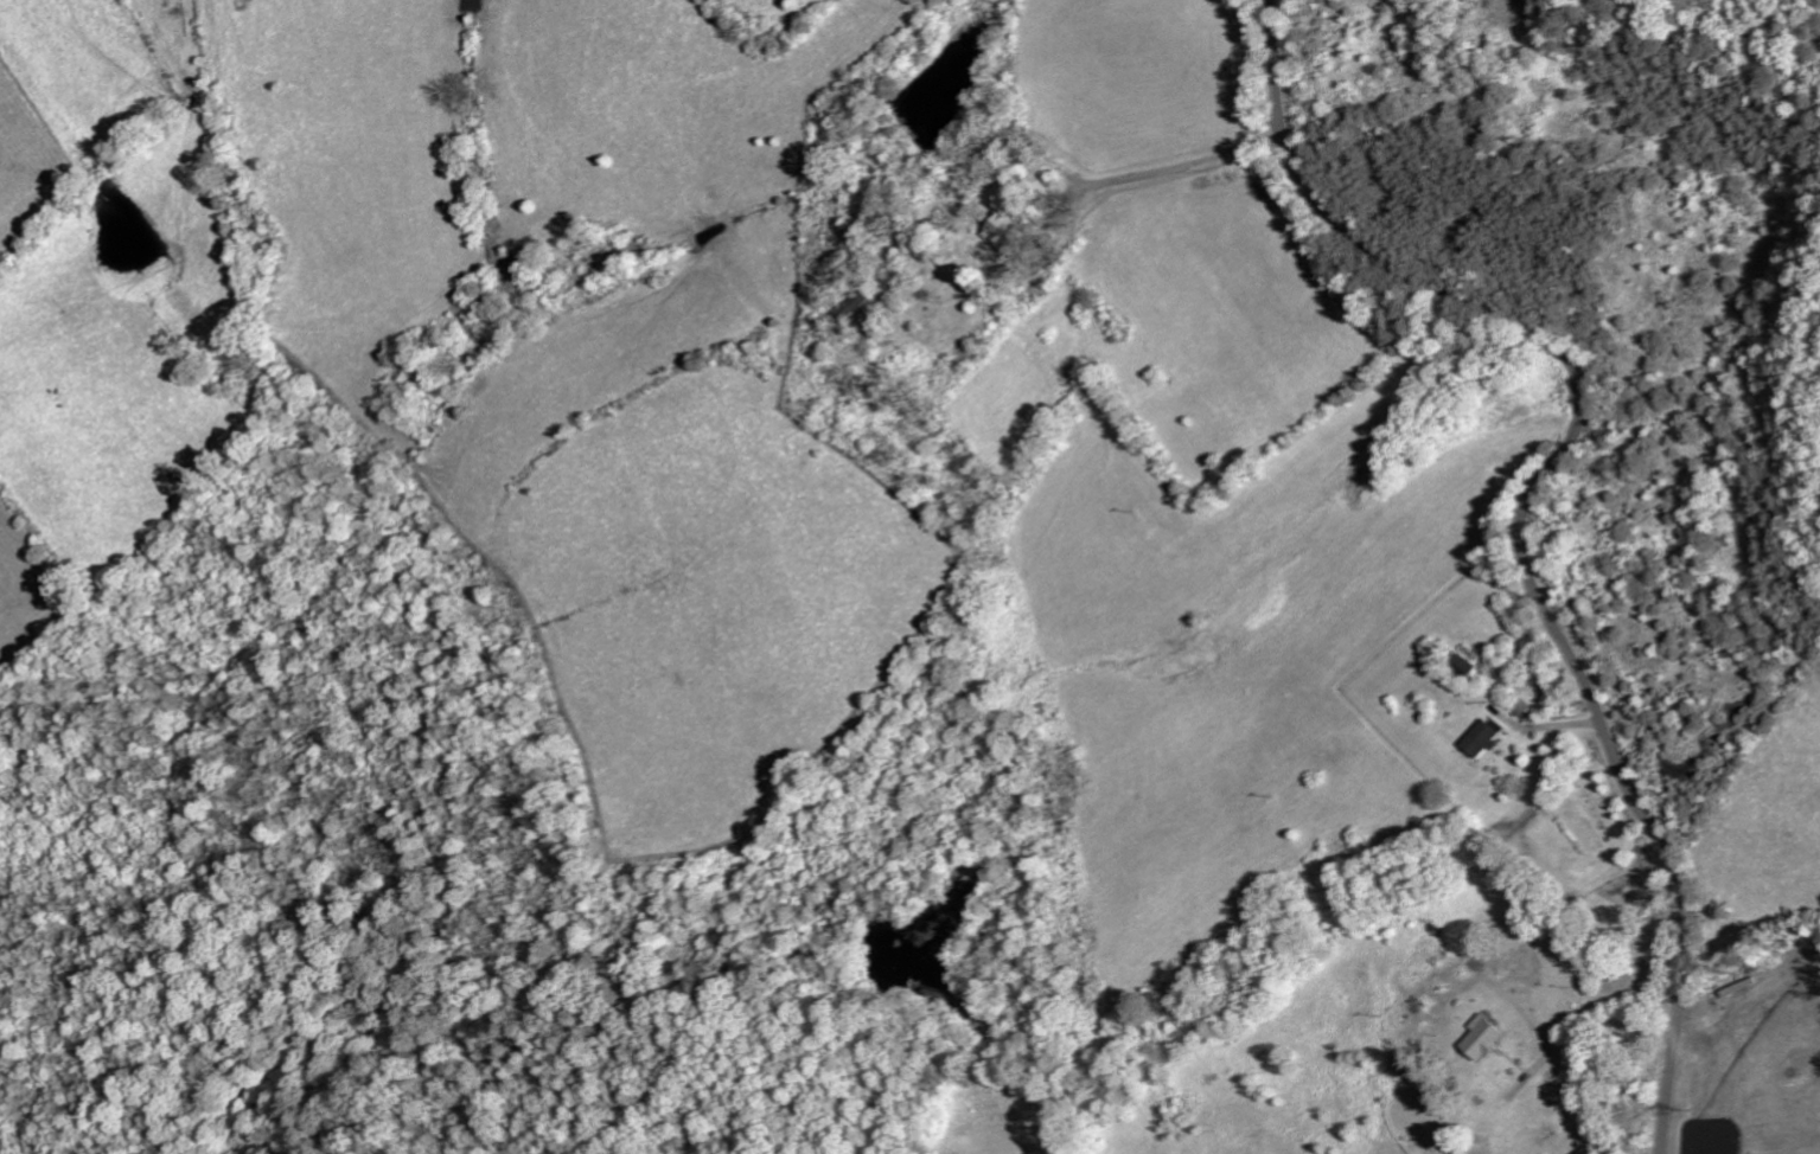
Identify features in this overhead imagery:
building: (1002, 226)
building: (851, 307)
road: (1525, 512)
building: (1463, 666)
building: (1481, 738)
building: (1482, 1040)

